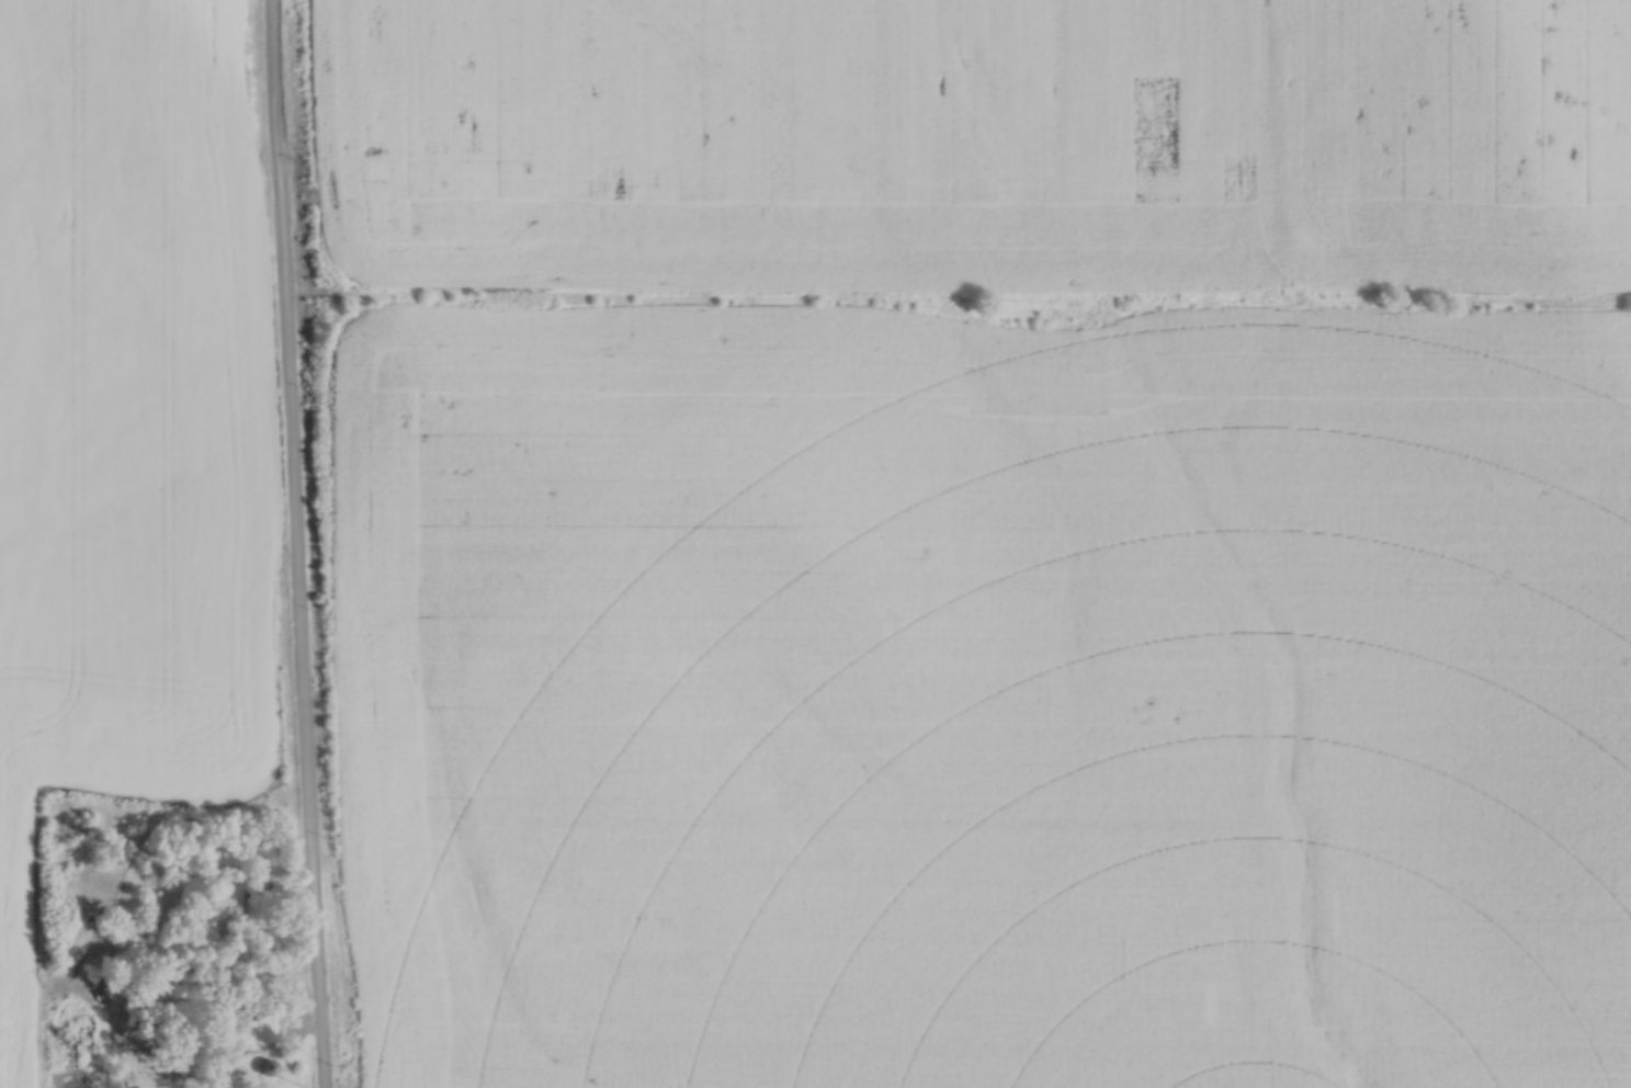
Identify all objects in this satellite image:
road: (296, 544)
building: (264, 1064)
road: (118, 1084)

